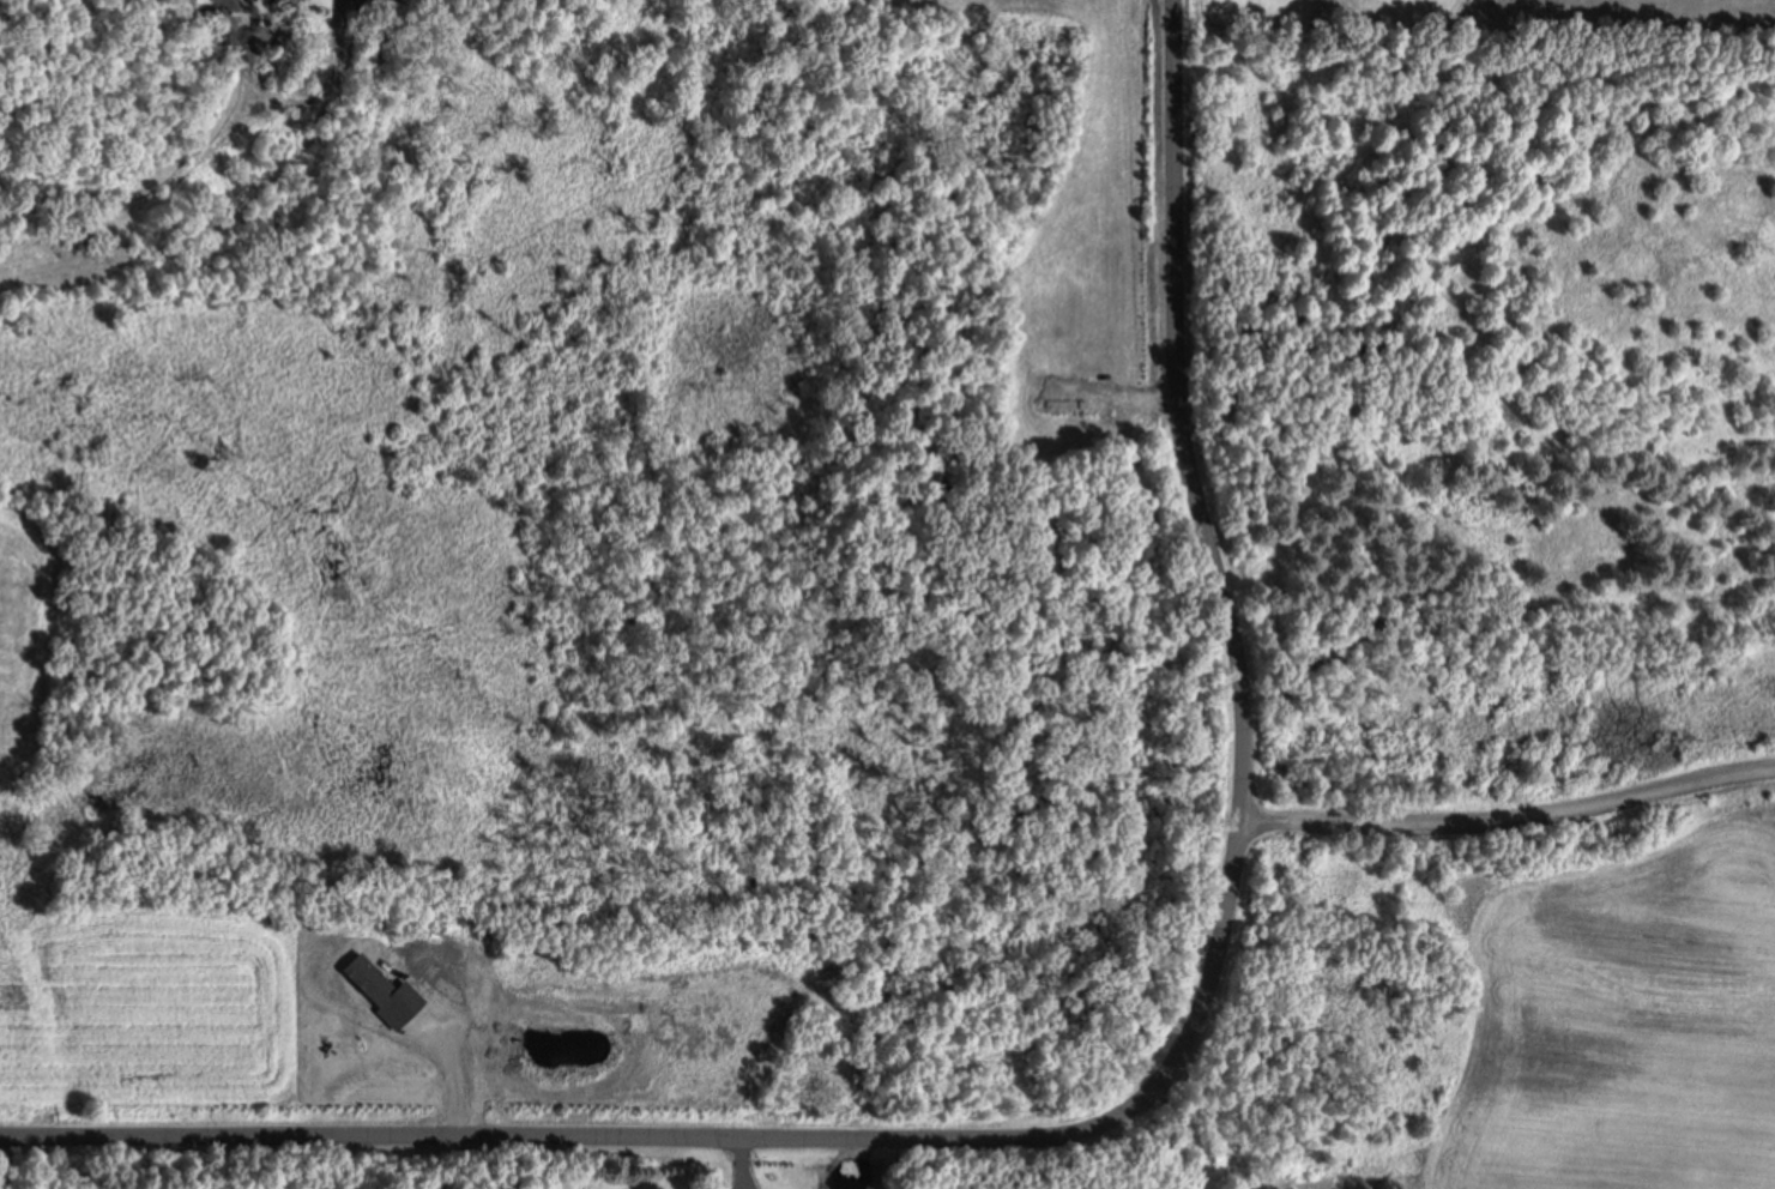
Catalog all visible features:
road: (1179, 410)
road: (1508, 810)
road: (1187, 1128)
road: (725, 1133)

